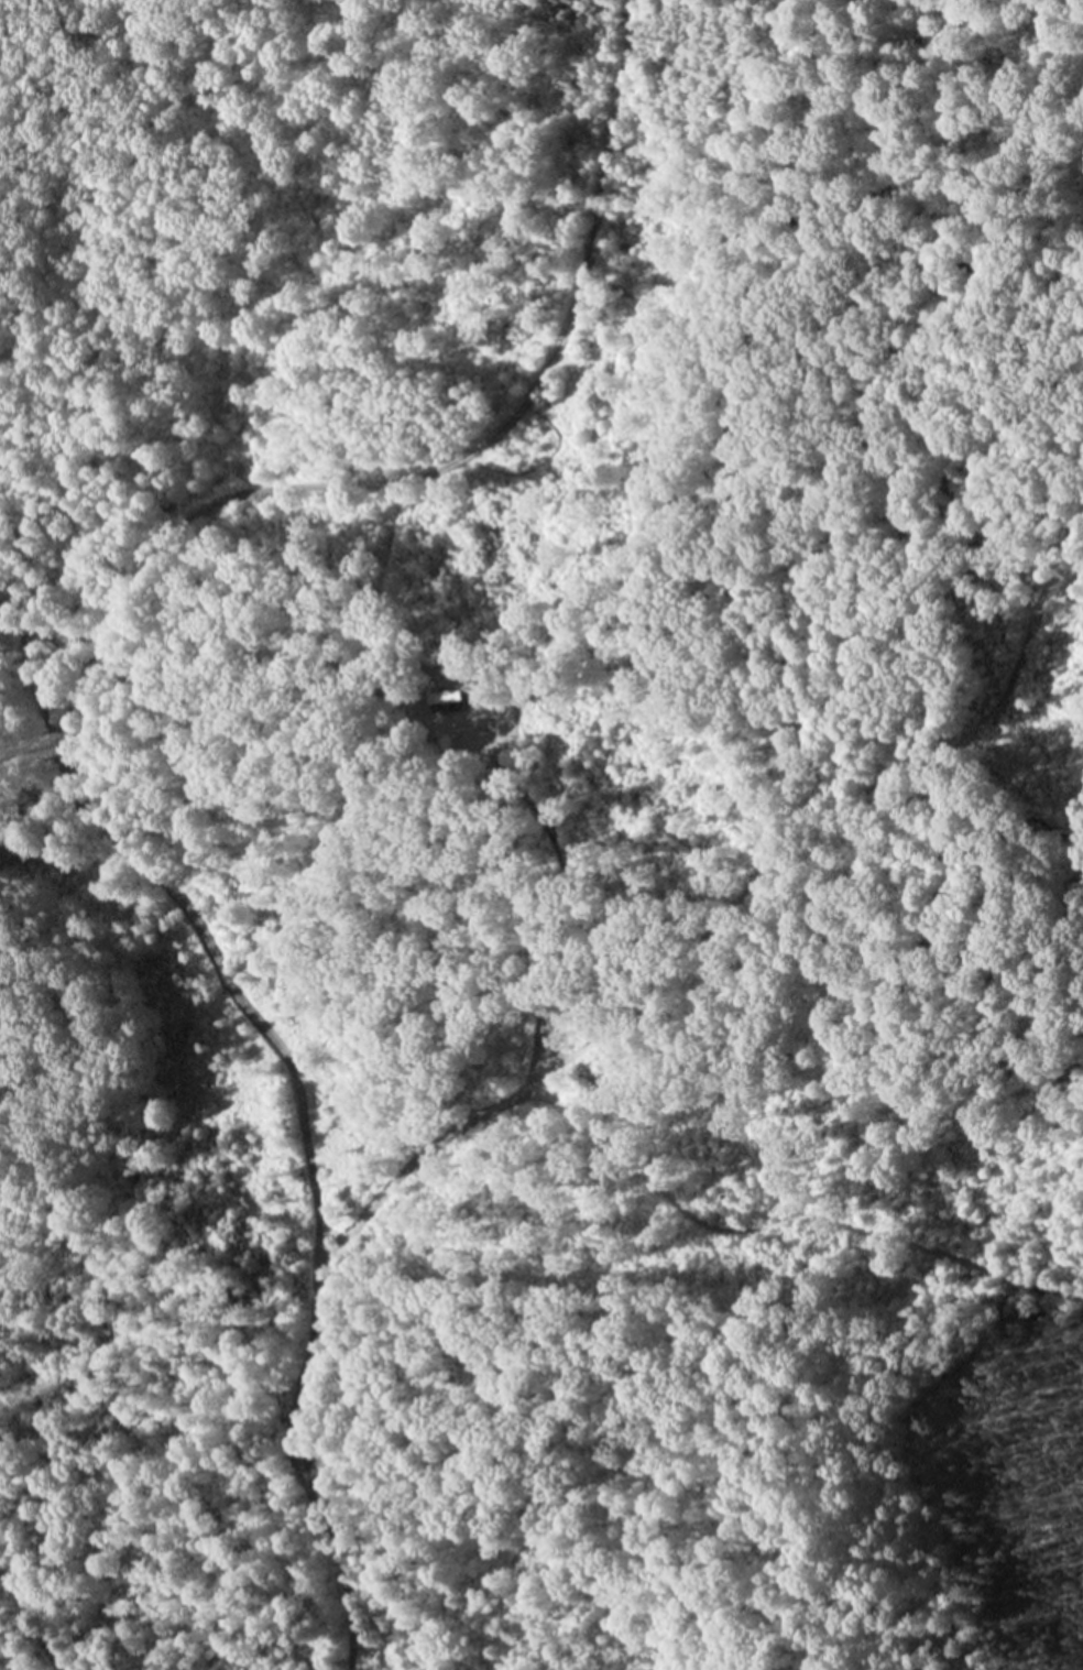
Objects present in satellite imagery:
building: (449, 697)
road: (50, 735)
road: (554, 1063)
road: (29, 1624)

